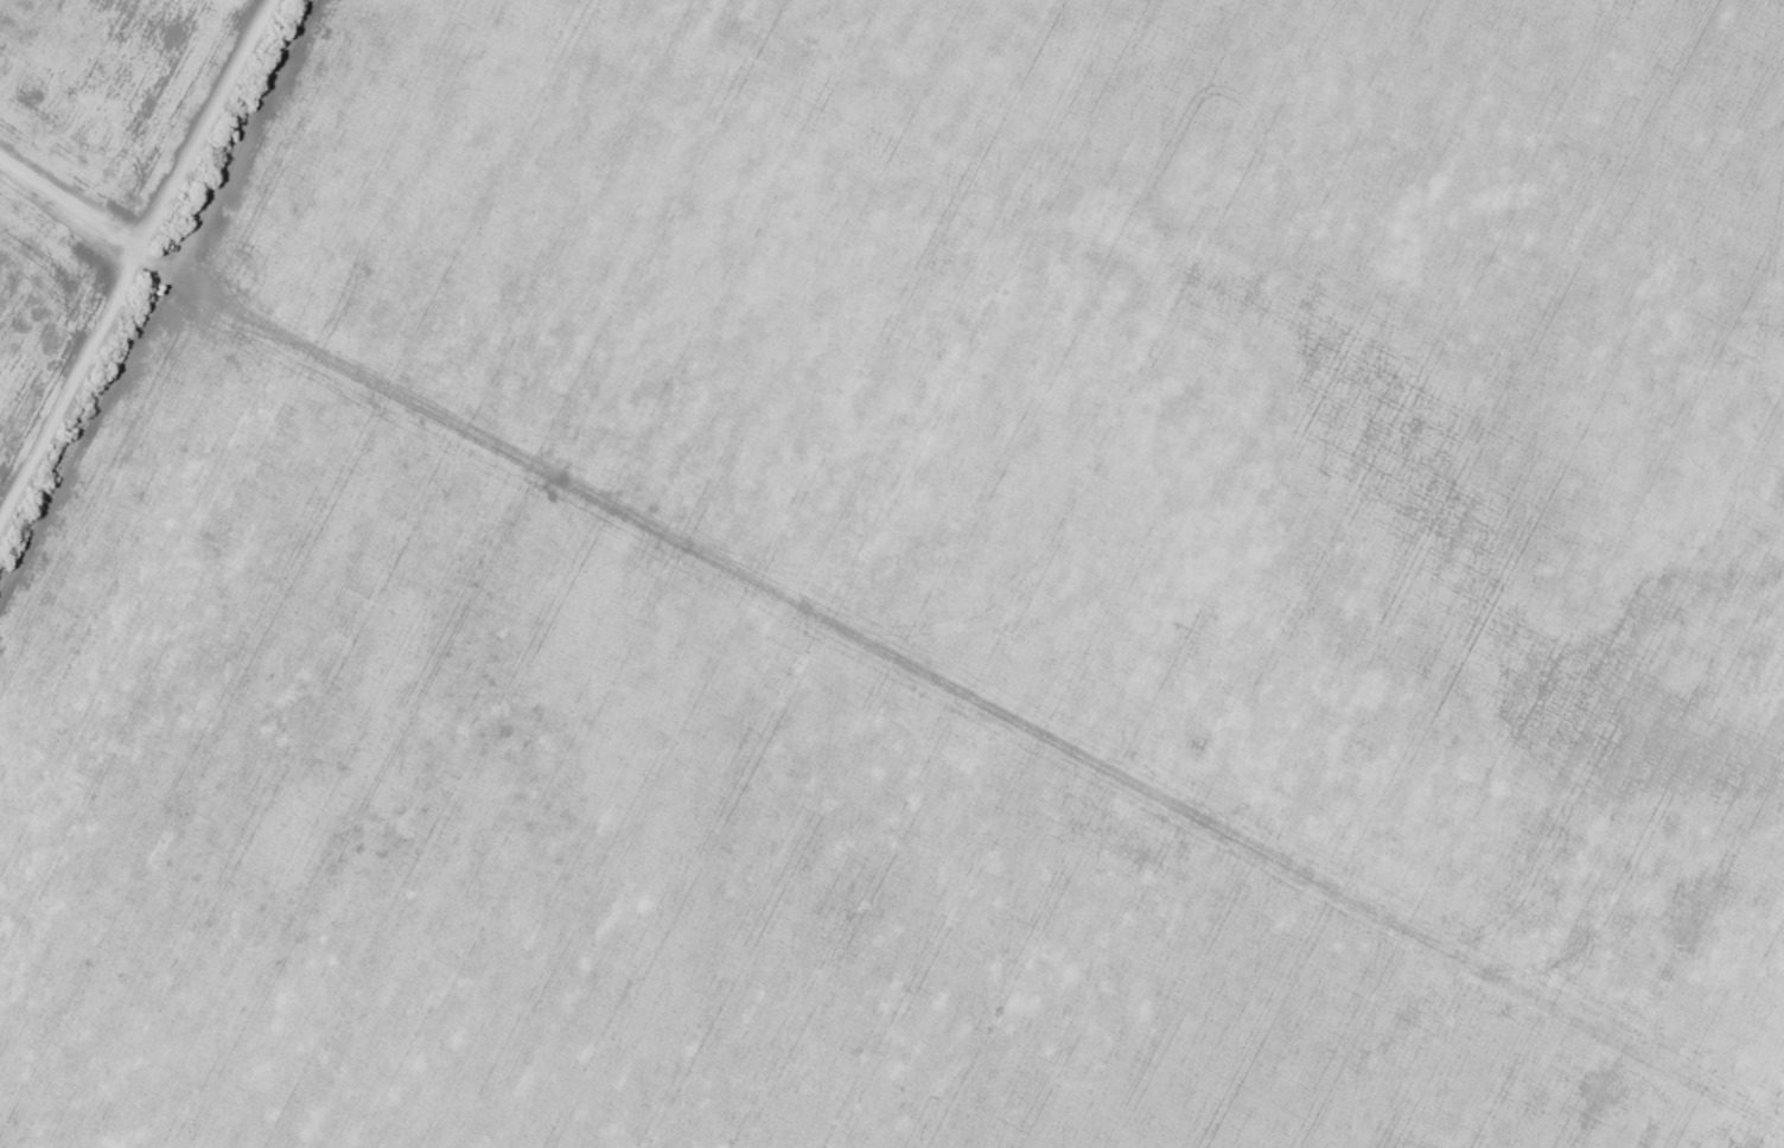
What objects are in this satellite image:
road: (159, 313)

